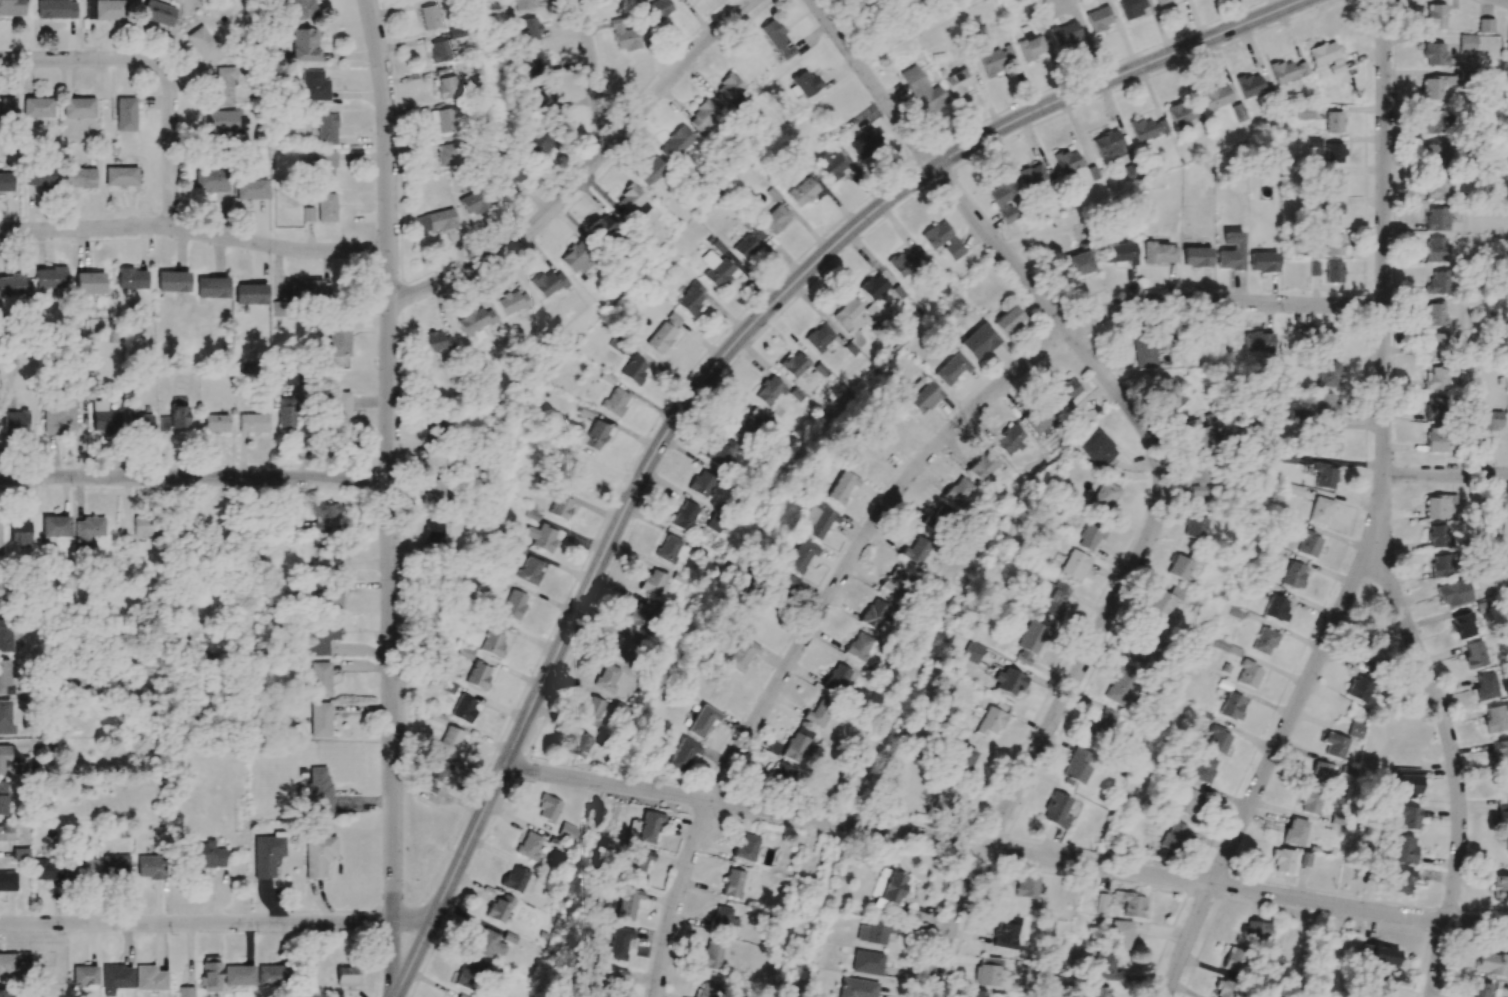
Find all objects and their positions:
building: (845, 0)
road: (1507, 0)
building: (1162, 2)
building: (524, 4)
building: (12, 7)
building: (1132, 7)
building: (56, 9)
building: (105, 9)
building: (301, 9)
building: (656, 9)
building: (157, 12)
building: (1435, 16)
building: (430, 17)
building: (1099, 18)
building: (1486, 25)
building: (530, 29)
building: (1065, 33)
building: (624, 36)
building: (778, 39)
building: (1468, 43)
building: (203, 45)
building: (304, 45)
building: (1030, 46)
building: (439, 51)
building: (1507, 51)
building: (1435, 54)
building: (1326, 56)
road: (83, 58)
building: (997, 59)
building: (536, 63)
building: (1301, 68)
building: (1283, 72)
road: (593, 74)
building: (957, 82)
building: (805, 83)
building: (1250, 85)
building: (222, 86)
building: (313, 86)
building: (1434, 86)
building: (447, 87)
building: (729, 89)
building: (922, 90)
building: (1216, 97)
building: (543, 101)
building: (6, 107)
building: (78, 107)
building: (38, 108)
building: (1238, 112)
building: (1305, 112)
building: (125, 114)
building: (1181, 114)
building: (444, 118)
building: (704, 118)
building: (222, 121)
building: (1334, 121)
building: (1435, 122)
building: (1161, 126)
building: (326, 129)
building: (1142, 129)
building: (540, 143)
building: (675, 143)
building: (864, 143)
building: (1108, 145)
road: (170, 149)
building: (1334, 153)
building: (1431, 153)
building: (446, 154)
building: (1067, 161)
building: (831, 165)
building: (325, 168)
road: (585, 172)
building: (650, 172)
building: (508, 175)
building: (1031, 175)
building: (39, 176)
building: (120, 176)
building: (79, 177)
building: (6, 181)
building: (211, 181)
building: (1336, 181)
building: (1438, 188)
building: (251, 189)
building: (803, 192)
building: (1004, 200)
building: (473, 202)
building: (633, 203)
building: (326, 207)
building: (1331, 212)
building: (308, 214)
building: (776, 218)
building: (1438, 218)
building: (435, 221)
building: (602, 228)
road: (194, 232)
building: (942, 240)
building: (1333, 244)
building: (745, 247)
building: (1436, 249)
building: (1231, 252)
building: (1120, 253)
building: (1160, 253)
building: (1196, 257)
building: (576, 258)
building: (1263, 262)
building: (909, 263)
building: (1079, 264)
building: (1313, 268)
building: (716, 269)
building: (1334, 272)
building: (50, 277)
building: (132, 278)
building: (172, 281)
building: (1438, 282)
building: (89, 283)
building: (547, 283)
building: (12, 284)
building: (212, 287)
building: (873, 287)
building: (305, 290)
building: (250, 294)
building: (691, 299)
building: (512, 302)
road: (1222, 302)
building: (848, 314)
building: (1437, 314)
building: (475, 320)
building: (1008, 321)
building: (664, 333)
building: (819, 337)
building: (1322, 337)
building: (338, 339)
building: (434, 342)
building: (978, 342)
building: (1258, 342)
road: (735, 343)
building: (1437, 345)
building: (1149, 347)
building: (794, 364)
building: (634, 369)
building: (951, 369)
building: (1328, 374)
building: (292, 378)
building: (1437, 378)
building: (769, 391)
building: (1065, 392)
building: (924, 396)
building: (1172, 399)
building: (615, 401)
building: (1326, 405)
building: (340, 408)
building: (1435, 408)
building: (285, 414)
building: (59, 417)
building: (103, 418)
building: (175, 419)
building: (1039, 419)
building: (1489, 421)
building: (14, 422)
building: (139, 423)
building: (215, 423)
building: (252, 423)
building: (746, 423)
building: (896, 423)
building: (432, 426)
building: (595, 435)
building: (1195, 437)
building: (1435, 439)
building: (1010, 440)
building: (1330, 440)
building: (1097, 450)
building: (723, 454)
building: (431, 461)
road: (389, 463)
building: (983, 466)
road: (1159, 466)
road: (1445, 474)
building: (1325, 476)
road: (195, 477)
building: (1198, 480)
building: (702, 483)
building: (841, 487)
building: (1292, 489)
building: (958, 491)
building: (432, 492)
building: (1103, 497)
building: (561, 504)
building: (1437, 505)
building: (1320, 510)
building: (685, 516)
building: (938, 518)
building: (322, 519)
building: (818, 521)
road: (1379, 522)
building: (144, 524)
building: (716, 524)
building: (55, 526)
building: (183, 526)
building: (1195, 527)
building: (88, 529)
building: (19, 531)
building: (432, 532)
building: (1090, 534)
building: (1438, 534)
building: (541, 537)
building: (0, 540)
building: (1308, 543)
building: (669, 548)
building: (916, 550)
building: (801, 555)
building: (328, 558)
building: (1074, 565)
building: (1440, 565)
building: (1178, 567)
building: (530, 570)
building: (1293, 575)
building: (897, 581)
building: (654, 582)
building: (785, 587)
building: (2, 590)
building: (331, 593)
building: (1455, 593)
building: (1053, 599)
building: (1163, 601)
building: (514, 604)
building: (1277, 608)
building: (640, 614)
building: (876, 614)
building: (1463, 625)
road: (808, 631)
building: (5, 635)
building: (321, 638)
building: (494, 640)
building: (1142, 641)
building: (1264, 641)
building: (1030, 642)
building: (859, 646)
building: (972, 652)
building: (742, 655)
building: (1476, 656)
building: (1248, 674)
building: (478, 675)
building: (5, 677)
building: (608, 677)
building: (837, 678)
building: (321, 679)
building: (1009, 682)
building: (1121, 684)
building: (448, 685)
building: (1486, 686)
building: (1360, 689)
building: (1231, 705)
building: (464, 708)
building: (592, 711)
building: (818, 714)
building: (5, 718)
building: (320, 719)
building: (1495, 719)
building: (992, 720)
building: (702, 721)
building: (1100, 723)
building: (1356, 730)
building: (1217, 739)
building: (450, 741)
building: (798, 744)
building: (578, 745)
building: (1335, 745)
building: (1501, 751)
building: (683, 754)
building: (8, 759)
building: (962, 759)
building: (1076, 768)
building: (1204, 768)
road: (1452, 769)
building: (1322, 773)
building: (435, 775)
building: (783, 775)
building: (1408, 784)
building: (319, 789)
building: (2, 797)
building: (945, 801)
building: (1187, 801)
building: (1311, 801)
building: (547, 808)
building: (1056, 810)
building: (1408, 817)
building: (1503, 823)
building: (648, 826)
building: (567, 831)
building: (6, 832)
building: (1295, 832)
building: (1174, 836)
building: (529, 845)
building: (747, 848)
building: (1403, 849)
road: (1005, 850)
building: (20, 853)
building: (267, 854)
building: (206, 855)
building: (318, 855)
building: (1281, 860)
building: (640, 865)
building: (116, 866)
building: (150, 867)
building: (48, 869)
building: (82, 869)
building: (515, 879)
building: (1399, 879)
building: (7, 881)
building: (733, 883)
building: (1026, 886)
building: (1499, 886)
building: (893, 887)
building: (627, 903)
building: (1100, 903)
building: (1132, 903)
building: (500, 908)
building: (723, 918)
road: (205, 924)
building: (1005, 931)
building: (1255, 931)
building: (873, 932)
building: (1121, 934)
building: (488, 943)
building: (618, 943)
building: (712, 955)
building: (1379, 955)
building: (1234, 959)
road: (402, 960)
building: (867, 962)
building: (13, 964)
building: (1106, 964)
building: (1492, 964)
building: (987, 972)
building: (210, 974)
building: (85, 975)
building: (238, 975)
building: (271, 975)
building: (469, 975)
building: (347, 976)
building: (116, 978)
building: (149, 978)
building: (613, 979)
building: (1382, 986)
building: (856, 988)
building: (708, 989)
building: (1479, 989)
building: (185, 991)
building: (1225, 991)
building: (2, 992)
building: (977, 994)
building: (462, 995)
building: (1102, 995)

